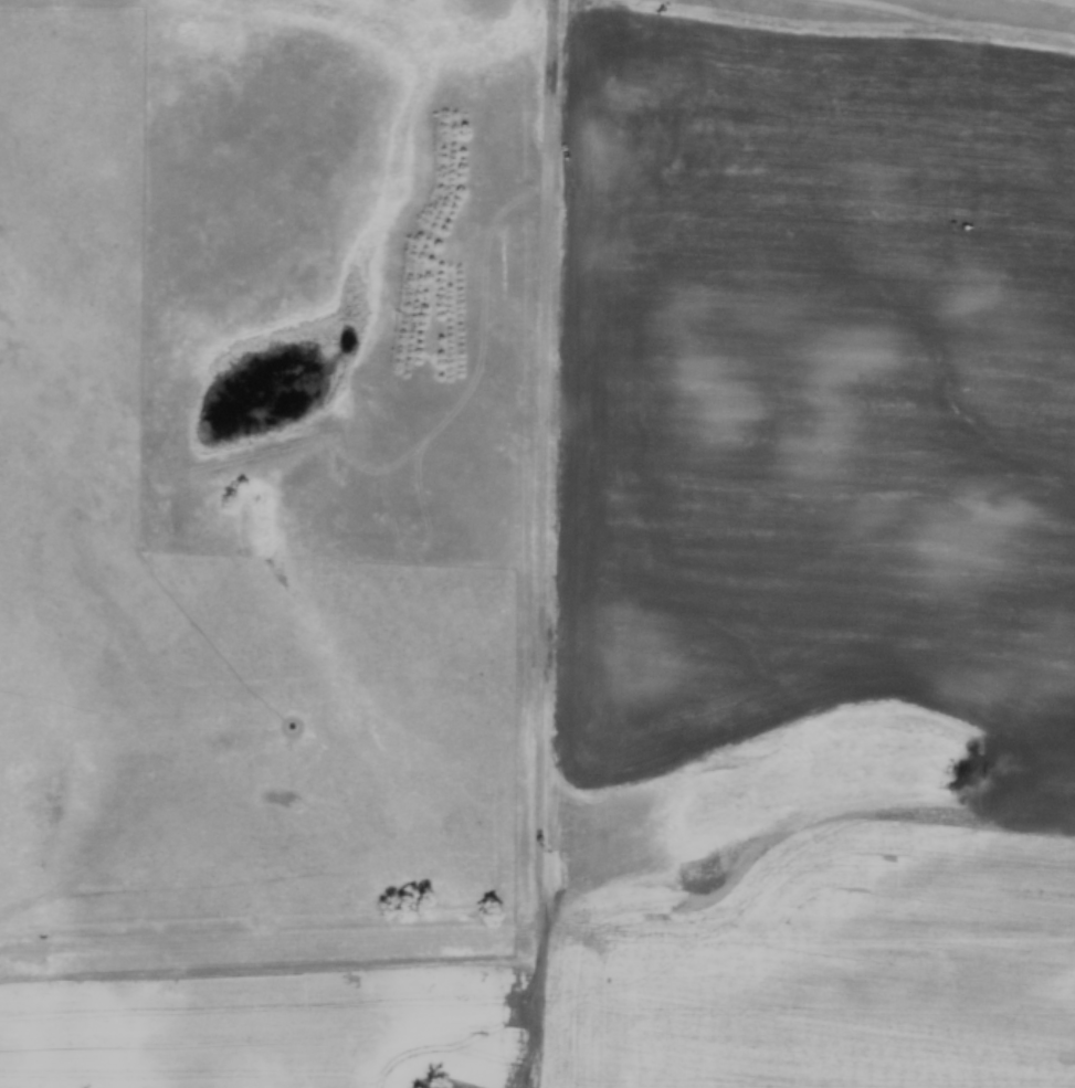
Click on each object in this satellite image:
road: (545, 543)

